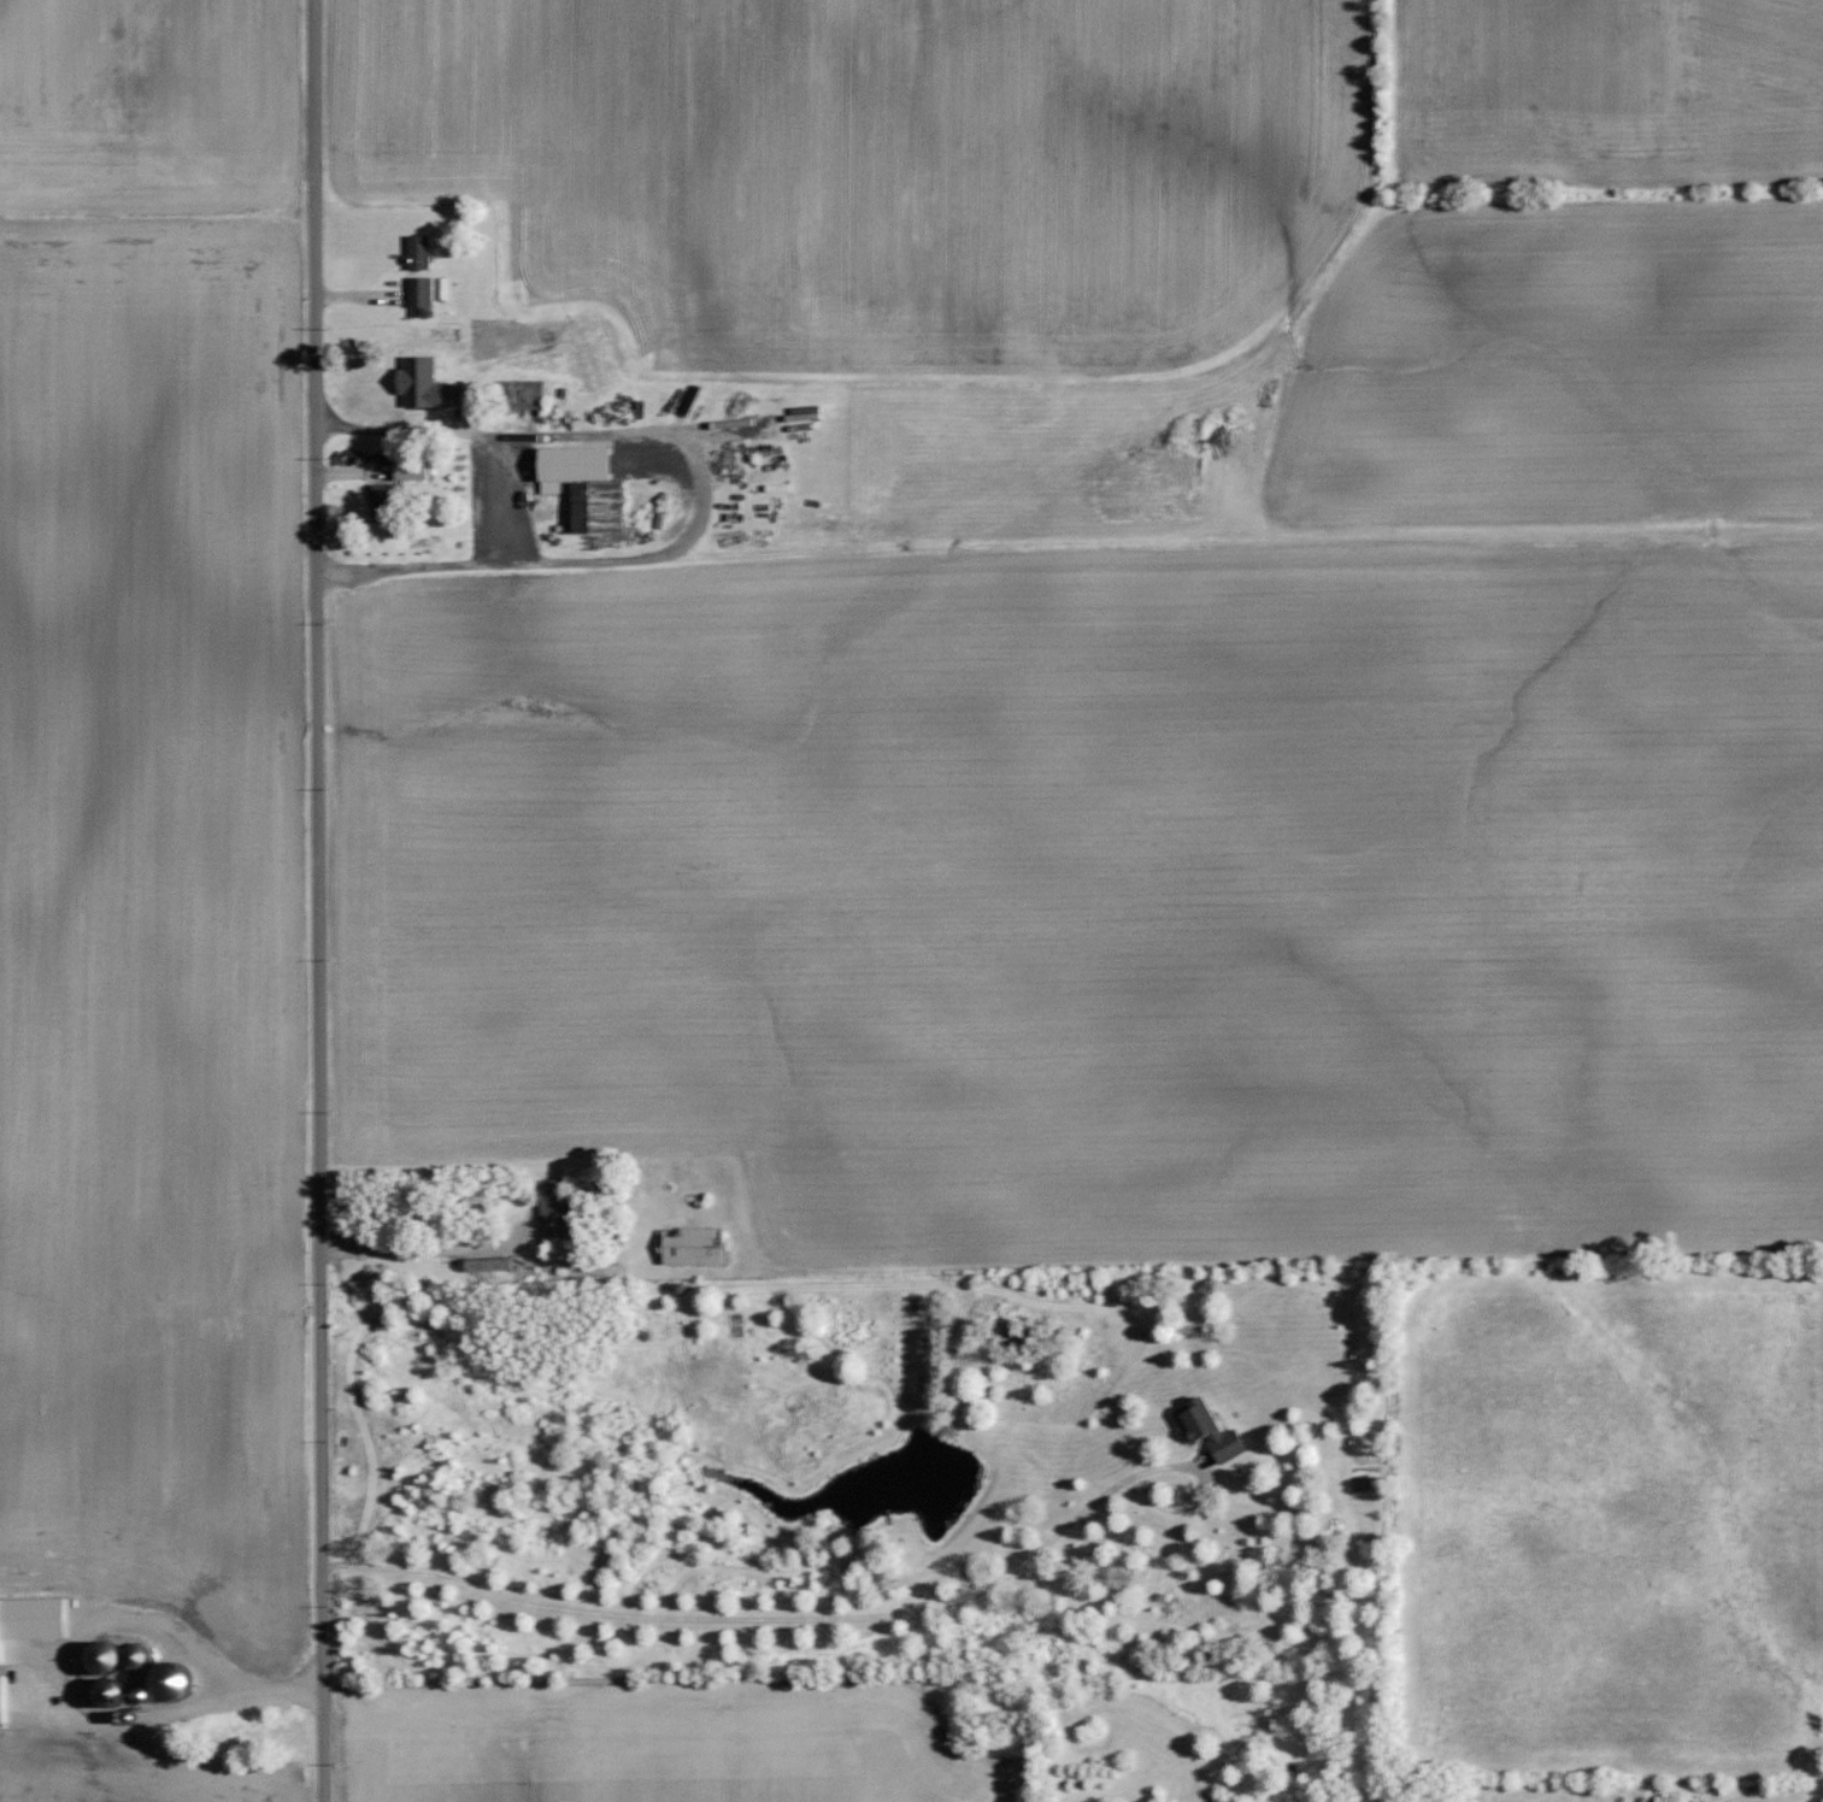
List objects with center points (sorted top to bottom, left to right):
building: (417, 251)
building: (417, 290)
building: (422, 383)
building: (518, 393)
building: (405, 470)
building: (581, 484)
building: (380, 493)
road: (701, 493)
road: (317, 901)
building: (548, 1197)
building: (687, 1245)
road: (425, 1249)
building: (484, 1264)
building: (1205, 1429)
road: (839, 1614)
building: (34, 1621)
building: (7, 1700)
road: (198, 1700)

